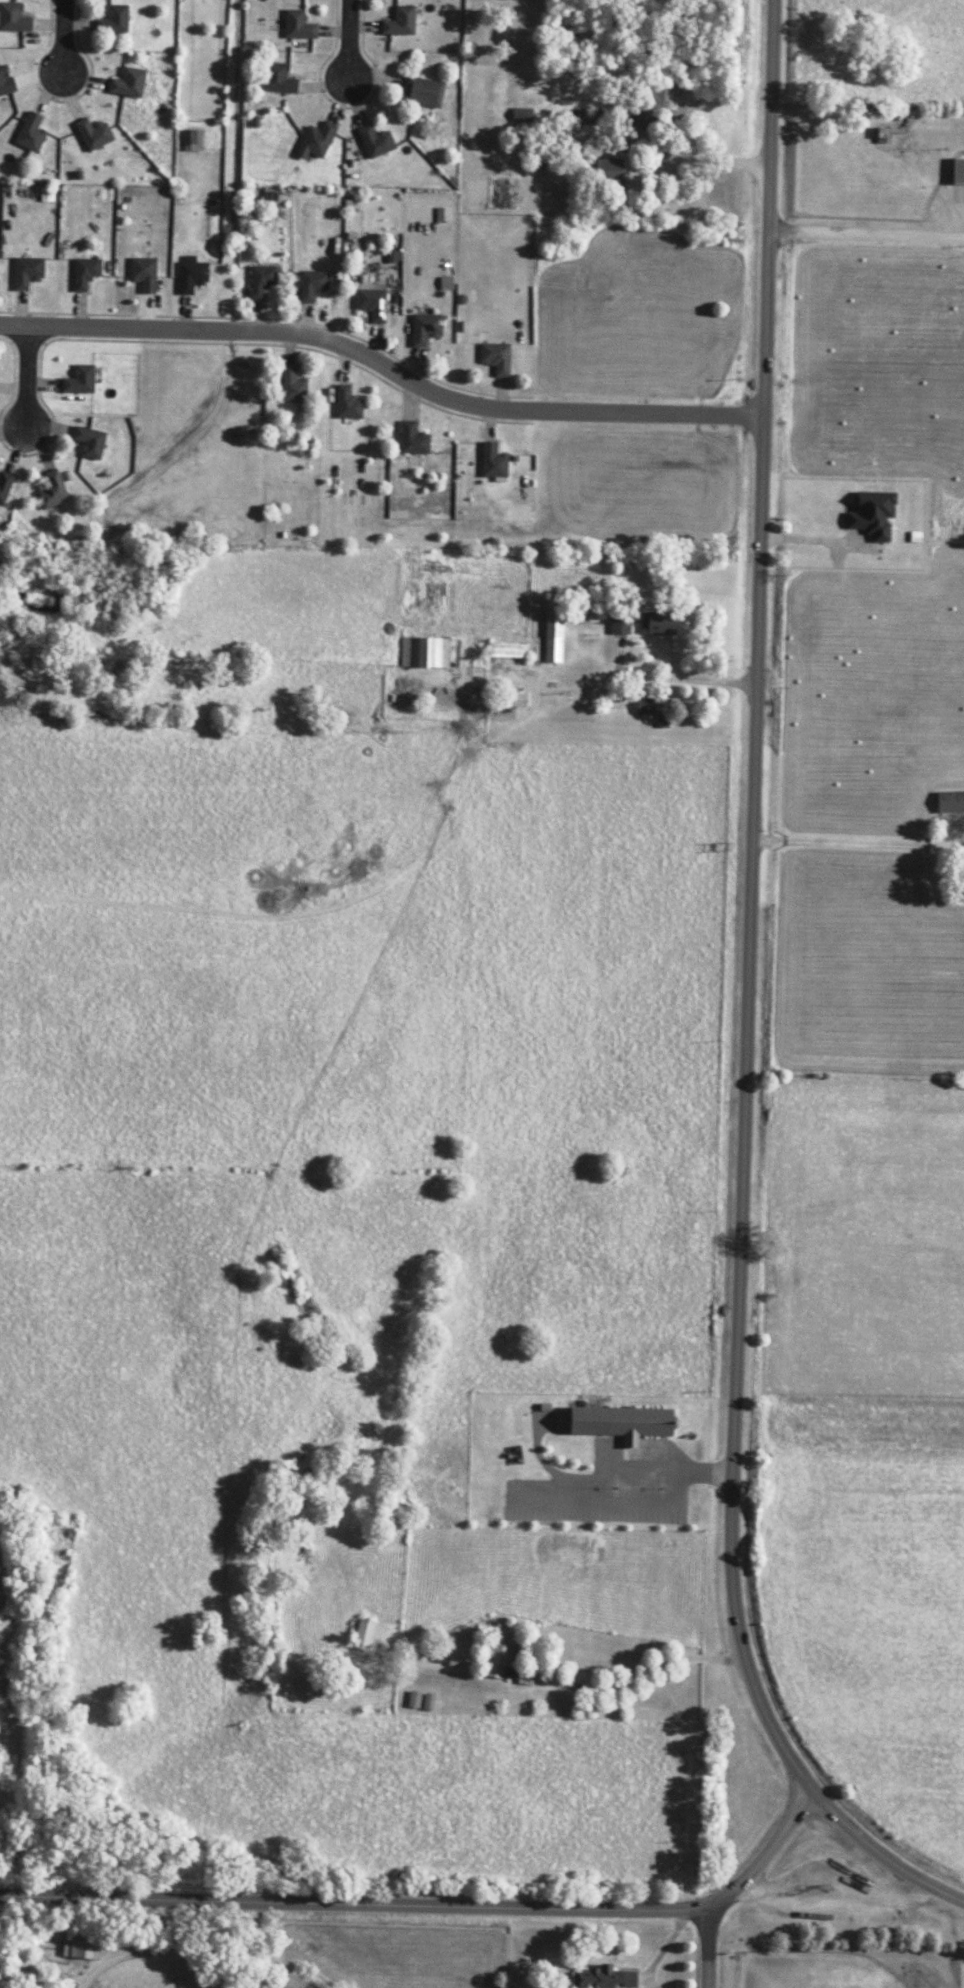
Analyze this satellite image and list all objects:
building: (13, 18)
building: (112, 20)
building: (399, 22)
building: (297, 25)
road: (67, 37)
road: (353, 38)
building: (277, 78)
building: (5, 81)
building: (127, 83)
building: (422, 92)
building: (654, 100)
building: (30, 133)
building: (92, 134)
building: (191, 140)
building: (315, 141)
building: (375, 141)
building: (607, 169)
building: (957, 171)
building: (441, 214)
road: (869, 235)
building: (26, 272)
building: (84, 273)
building: (143, 274)
building: (191, 274)
building: (260, 281)
building: (312, 285)
building: (371, 304)
building: (424, 329)
building: (495, 357)
road: (386, 363)
road: (28, 377)
building: (78, 380)
building: (291, 386)
building: (346, 403)
building: (412, 439)
building: (88, 442)
building: (492, 462)
building: (4, 486)
building: (51, 491)
building: (871, 514)
building: (618, 625)
building: (552, 634)
building: (506, 650)
building: (424, 653)
building: (612, 697)
building: (516, 700)
building: (643, 707)
building: (949, 802)
road: (853, 842)
road: (754, 999)
building: (620, 1422)
building: (363, 1633)
building: (498, 1651)
building: (413, 1699)
building: (428, 1702)
road: (430, 1905)
road: (246, 1945)
road: (704, 1945)
building: (79, 1948)
road: (142, 1951)
road: (961, 1961)
park: (811, 1971)
building: (602, 1978)

